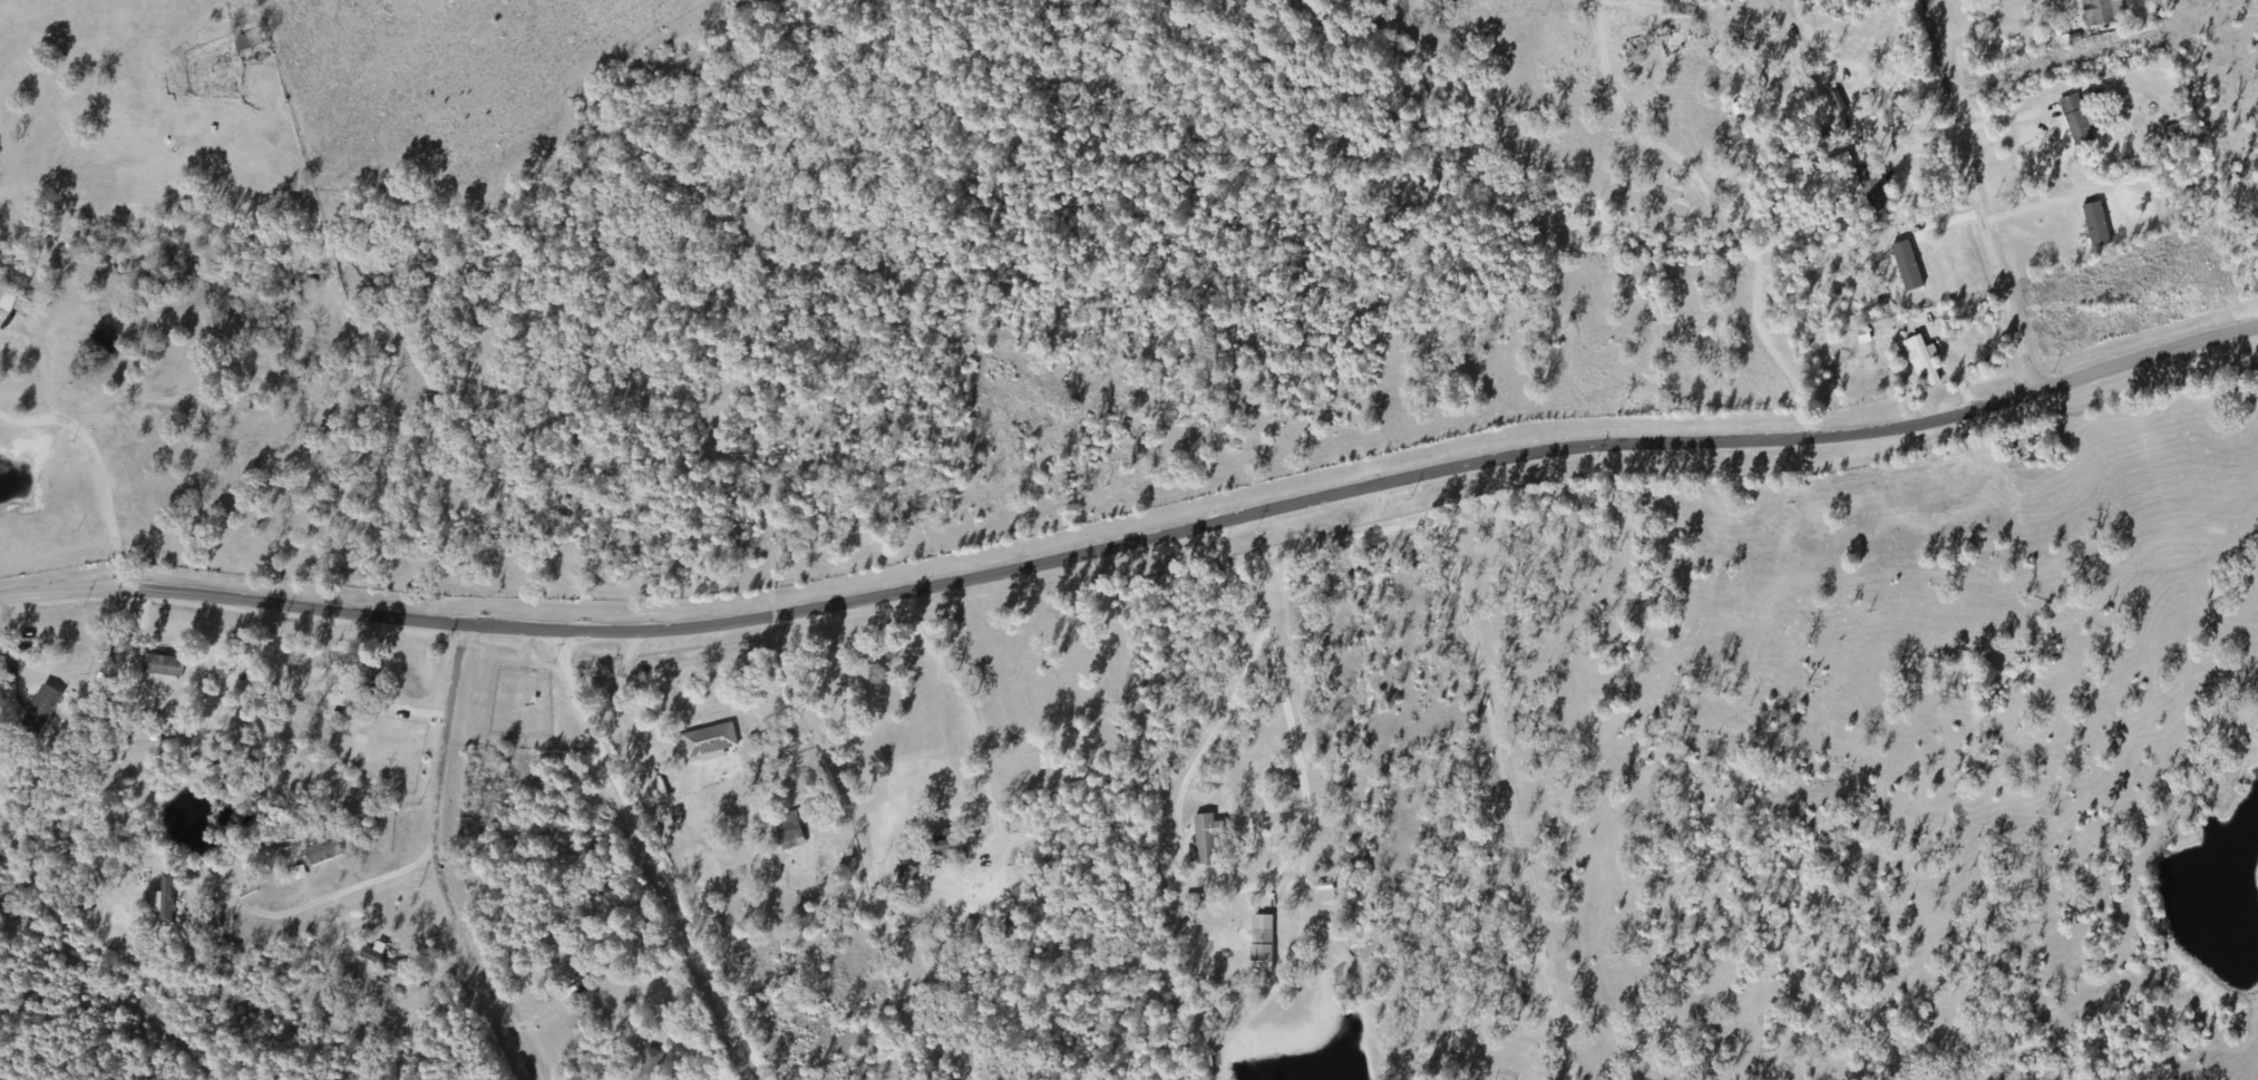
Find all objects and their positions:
building: (2096, 13)
building: (247, 42)
building: (171, 64)
road: (2013, 126)
road: (1985, 206)
road: (2041, 212)
building: (2094, 225)
road: (1615, 234)
building: (12, 307)
building: (101, 344)
road: (1130, 561)
road: (1547, 595)
road: (1242, 629)
building: (160, 667)
building: (366, 678)
building: (38, 712)
building: (708, 743)
road: (1503, 752)
road: (339, 829)
building: (789, 831)
building: (1205, 840)
building: (944, 852)
building: (322, 853)
road: (652, 885)
building: (1323, 894)
building: (1004, 932)
building: (1259, 940)
building: (566, 959)
road: (260, 1039)
road: (358, 1039)
building: (648, 1066)

